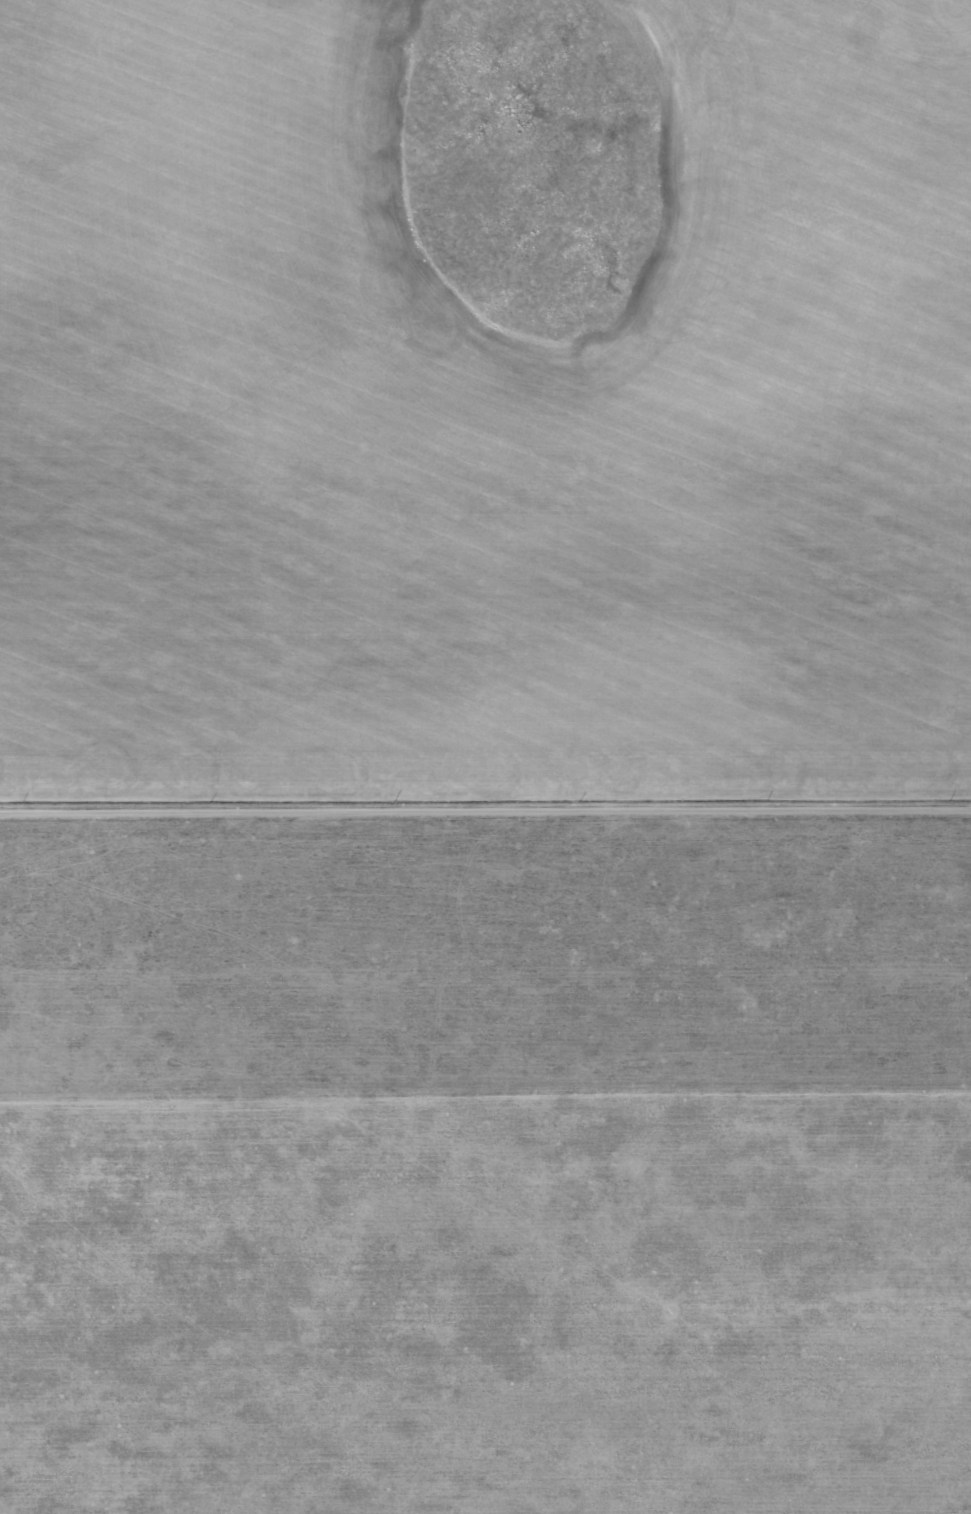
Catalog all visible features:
road: (485, 811)

